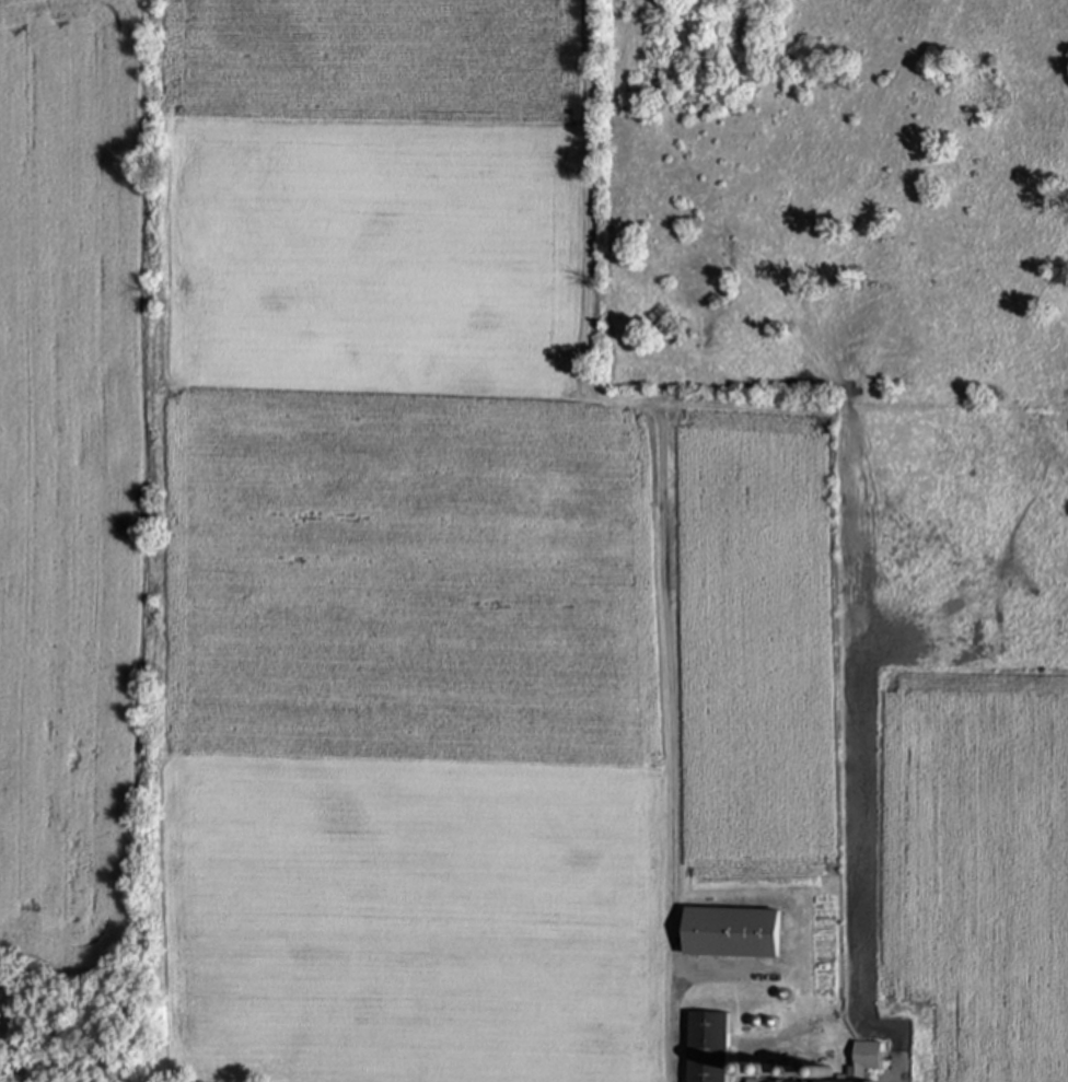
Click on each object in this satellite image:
building: (730, 935)
road: (674, 1023)
building: (707, 1048)
building: (863, 1061)

